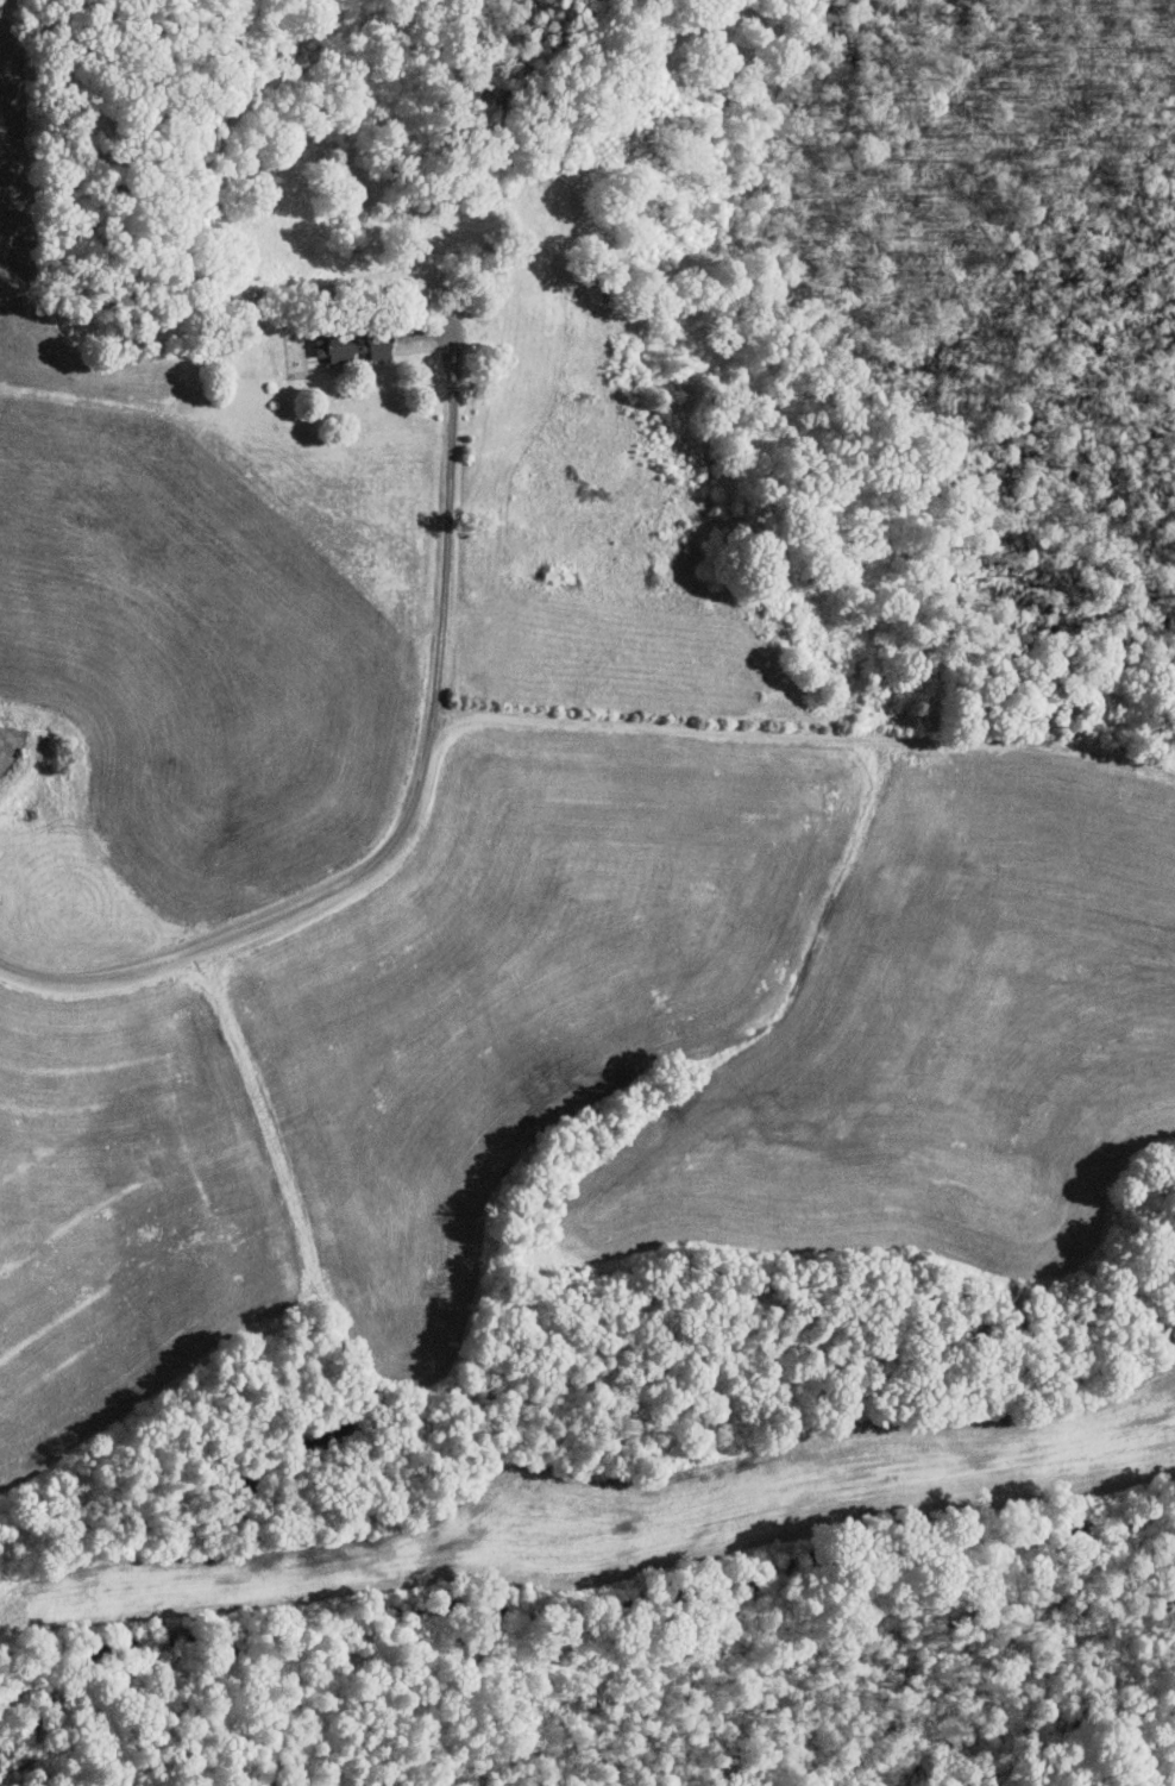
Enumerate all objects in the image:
building: (354, 346)
road: (837, 678)
road: (415, 807)

